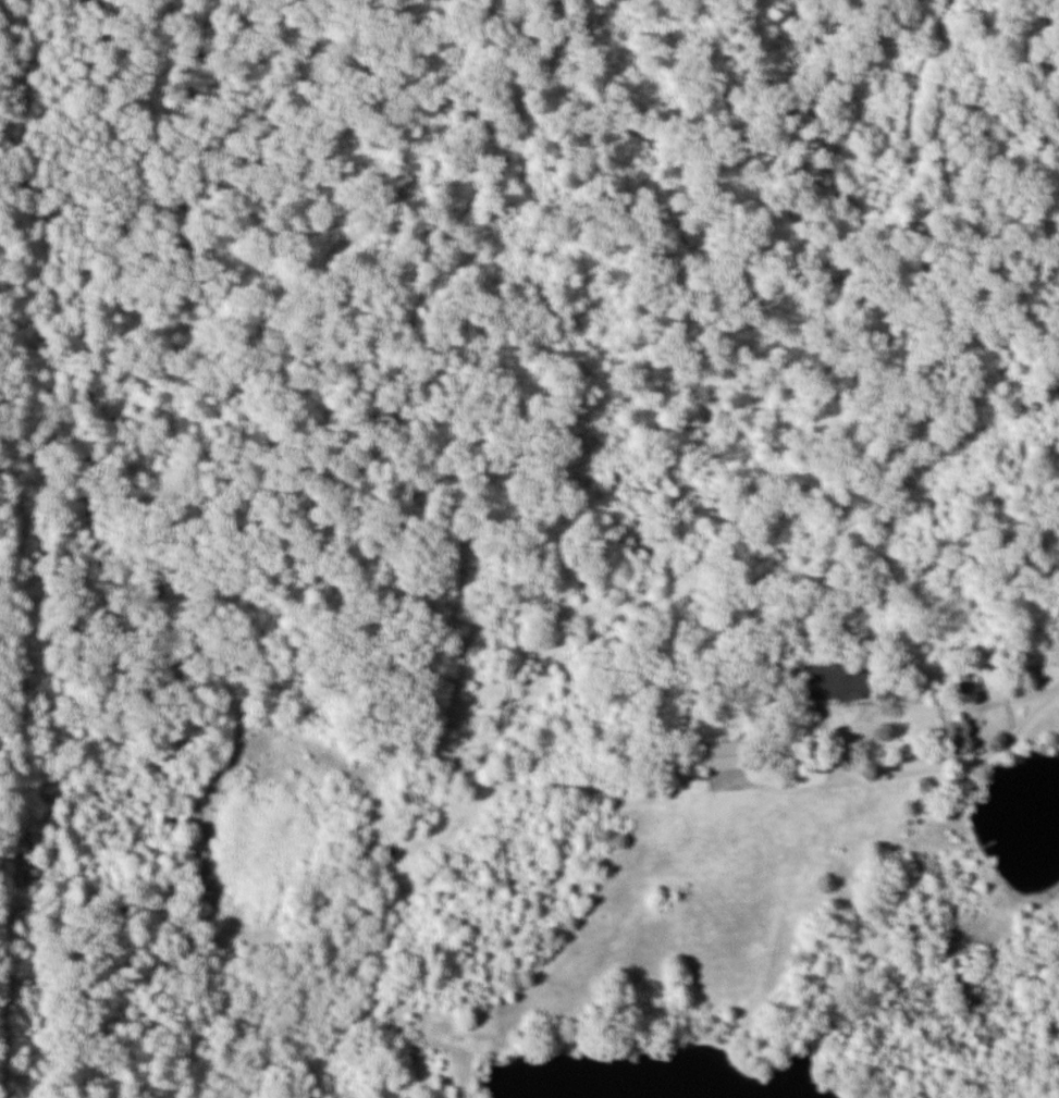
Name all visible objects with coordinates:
building: (829, 680)
building: (963, 681)
building: (714, 755)
road: (924, 762)

